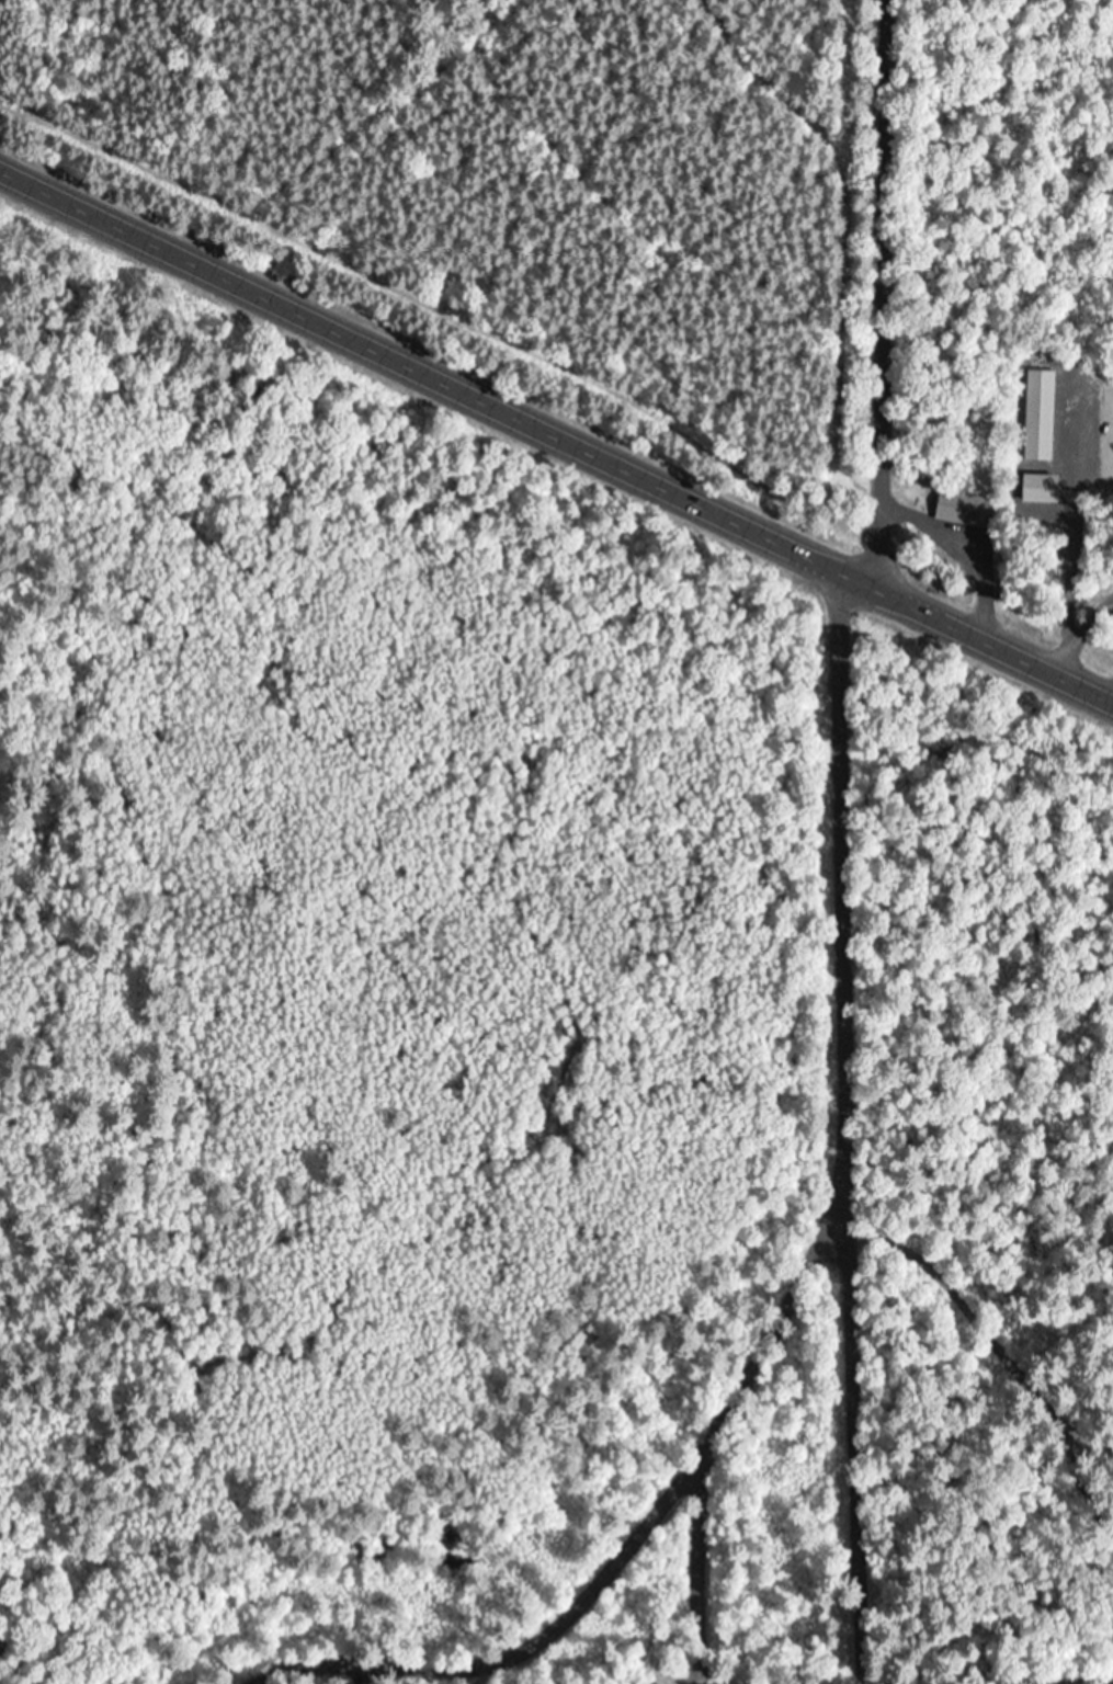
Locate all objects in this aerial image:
road: (885, 293)
road: (556, 431)
building: (963, 508)
road: (784, 1286)
road: (836, 1535)

